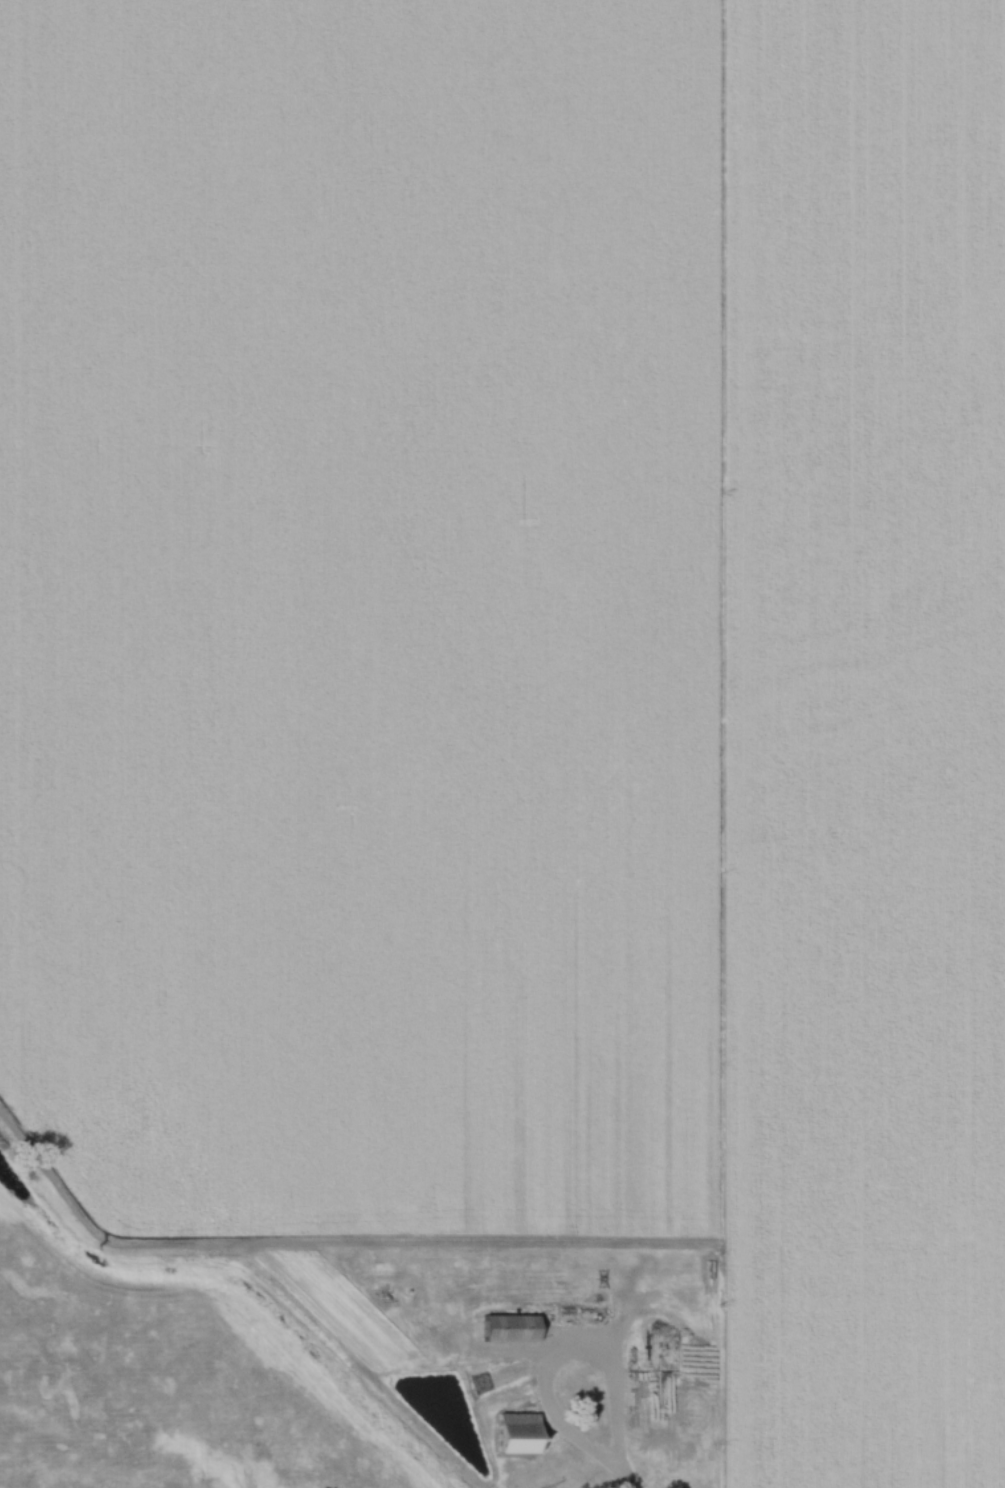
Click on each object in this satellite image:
building: (507, 1330)
road: (559, 1423)
building: (515, 1435)
road: (627, 1478)

